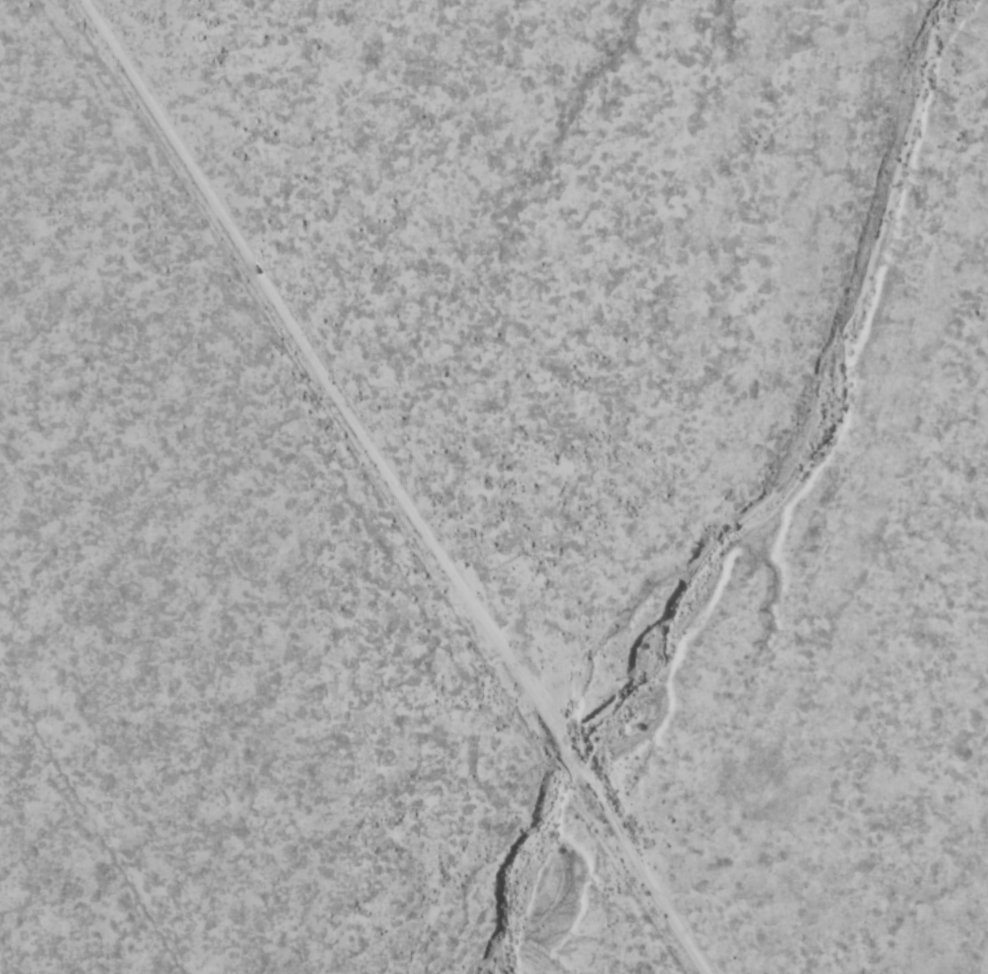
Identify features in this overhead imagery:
road: (369, 495)

